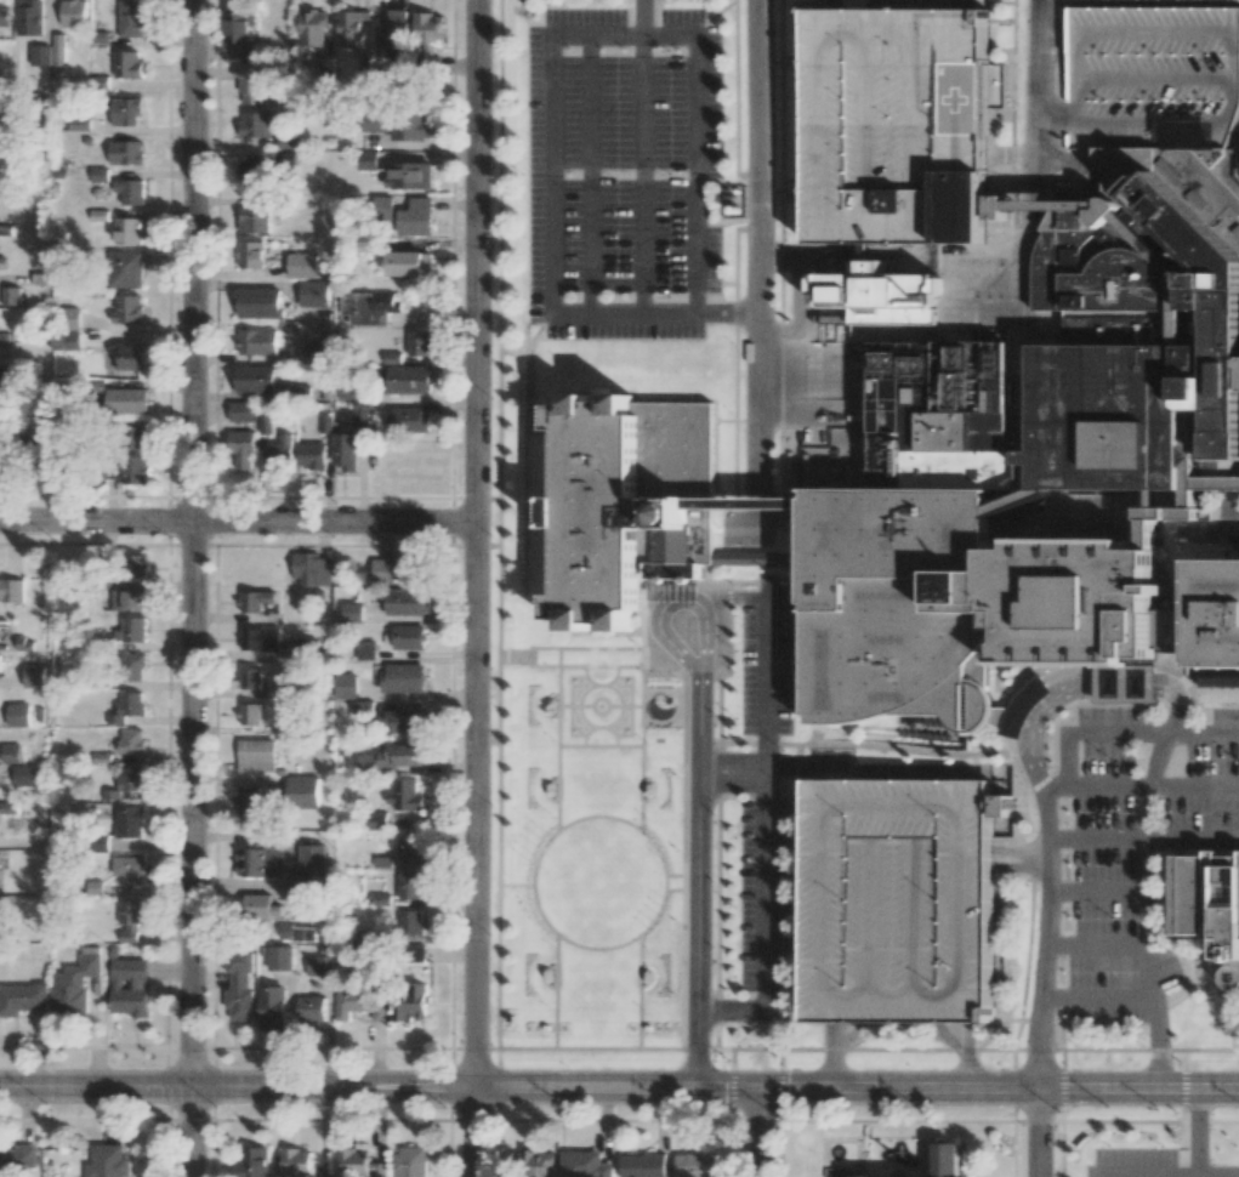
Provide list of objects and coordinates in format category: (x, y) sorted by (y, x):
building: (74, 12)
building: (4, 16)
building: (29, 17)
building: (130, 18)
road: (640, 18)
building: (349, 27)
building: (312, 28)
building: (391, 33)
building: (427, 33)
building: (239, 34)
road: (549, 38)
building: (58, 49)
building: (40, 55)
parking lot: (1153, 62)
building: (129, 64)
road: (1040, 80)
building: (251, 84)
helipad: (962, 93)
building: (126, 112)
building: (79, 123)
building: (255, 124)
parking lot: (897, 124)
building: (402, 125)
building: (898, 126)
building: (125, 152)
building: (366, 159)
building: (255, 171)
building: (98, 175)
building: (409, 175)
parking lot: (619, 175)
road: (586, 176)
road: (640, 176)
building: (130, 191)
building: (415, 217)
building: (252, 220)
building: (127, 231)
building: (250, 254)
road: (757, 261)
building: (409, 262)
building: (302, 265)
building: (125, 268)
building: (313, 292)
building: (11, 295)
building: (877, 296)
building: (258, 302)
building: (369, 307)
building: (127, 308)
road: (726, 315)
building: (70, 318)
building: (1139, 319)
building: (66, 341)
building: (257, 341)
building: (419, 342)
building: (313, 352)
building: (131, 357)
building: (255, 379)
building: (408, 379)
building: (126, 400)
building: (356, 405)
building: (243, 411)
building: (940, 419)
building: (409, 420)
building: (45, 423)
building: (136, 437)
building: (240, 449)
building: (345, 450)
building: (279, 453)
building: (312, 455)
building: (130, 470)
building: (623, 500)
road: (235, 521)
road: (1212, 531)
building: (136, 565)
building: (394, 568)
building: (312, 569)
road: (188, 588)
road: (473, 588)
building: (11, 590)
building: (129, 599)
building: (255, 599)
building: (1067, 601)
building: (409, 602)
building: (897, 605)
building: (352, 612)
building: (1217, 613)
building: (133, 629)
building: (409, 636)
building: (260, 638)
road: (585, 647)
building: (303, 649)
building: (365, 649)
parking lot: (765, 654)
building: (0, 659)
road: (1182, 663)
road: (584, 665)
building: (132, 667)
building: (34, 676)
building: (250, 677)
building: (403, 677)
building: (1232, 682)
building: (345, 686)
road: (1068, 689)
road: (592, 700)
road: (574, 705)
building: (127, 706)
road: (623, 706)
road: (579, 712)
building: (248, 713)
building: (18, 715)
building: (405, 721)
road: (1127, 734)
road: (557, 738)
road: (640, 738)
building: (131, 740)
road: (581, 744)
building: (11, 752)
building: (256, 755)
building: (393, 757)
road: (731, 768)
building: (24, 775)
building: (130, 779)
road: (1144, 786)
building: (301, 792)
building: (404, 795)
road: (765, 796)
building: (250, 800)
building: (129, 820)
building: (376, 820)
road: (1146, 838)
building: (410, 846)
parking lot: (1121, 854)
road: (1022, 858)
building: (260, 862)
building: (312, 864)
road: (1144, 866)
building: (130, 868)
road: (680, 872)
road: (697, 880)
building: (409, 886)
road: (680, 889)
road: (1098, 889)
parking lot: (898, 903)
building: (1211, 904)
building: (256, 906)
parking lot: (763, 908)
building: (130, 919)
building: (409, 922)
road: (555, 932)
building: (297, 933)
road: (1047, 937)
road: (1098, 944)
building: (414, 954)
building: (279, 957)
building: (318, 965)
building: (74, 982)
building: (239, 985)
building: (129, 986)
road: (556, 990)
road: (638, 990)
road: (1097, 996)
building: (22, 999)
building: (360, 1002)
building: (410, 1003)
building: (273, 1008)
building: (311, 1008)
road: (729, 1010)
road: (1155, 1017)
road: (585, 1047)
road: (832, 1057)
road: (379, 1087)
road: (998, 1088)
traffic signals: (757, 1090)
road: (1039, 1132)
road: (757, 1133)
road: (1197, 1139)
building: (945, 1159)
building: (18, 1160)
building: (109, 1161)
building: (250, 1161)
building: (295, 1161)
building: (409, 1161)
parking lot: (1136, 1161)
building: (352, 1162)
building: (534, 1164)
building: (585, 1165)
building: (642, 1165)
building: (695, 1165)
road: (1143, 1173)
road: (1217, 1173)

